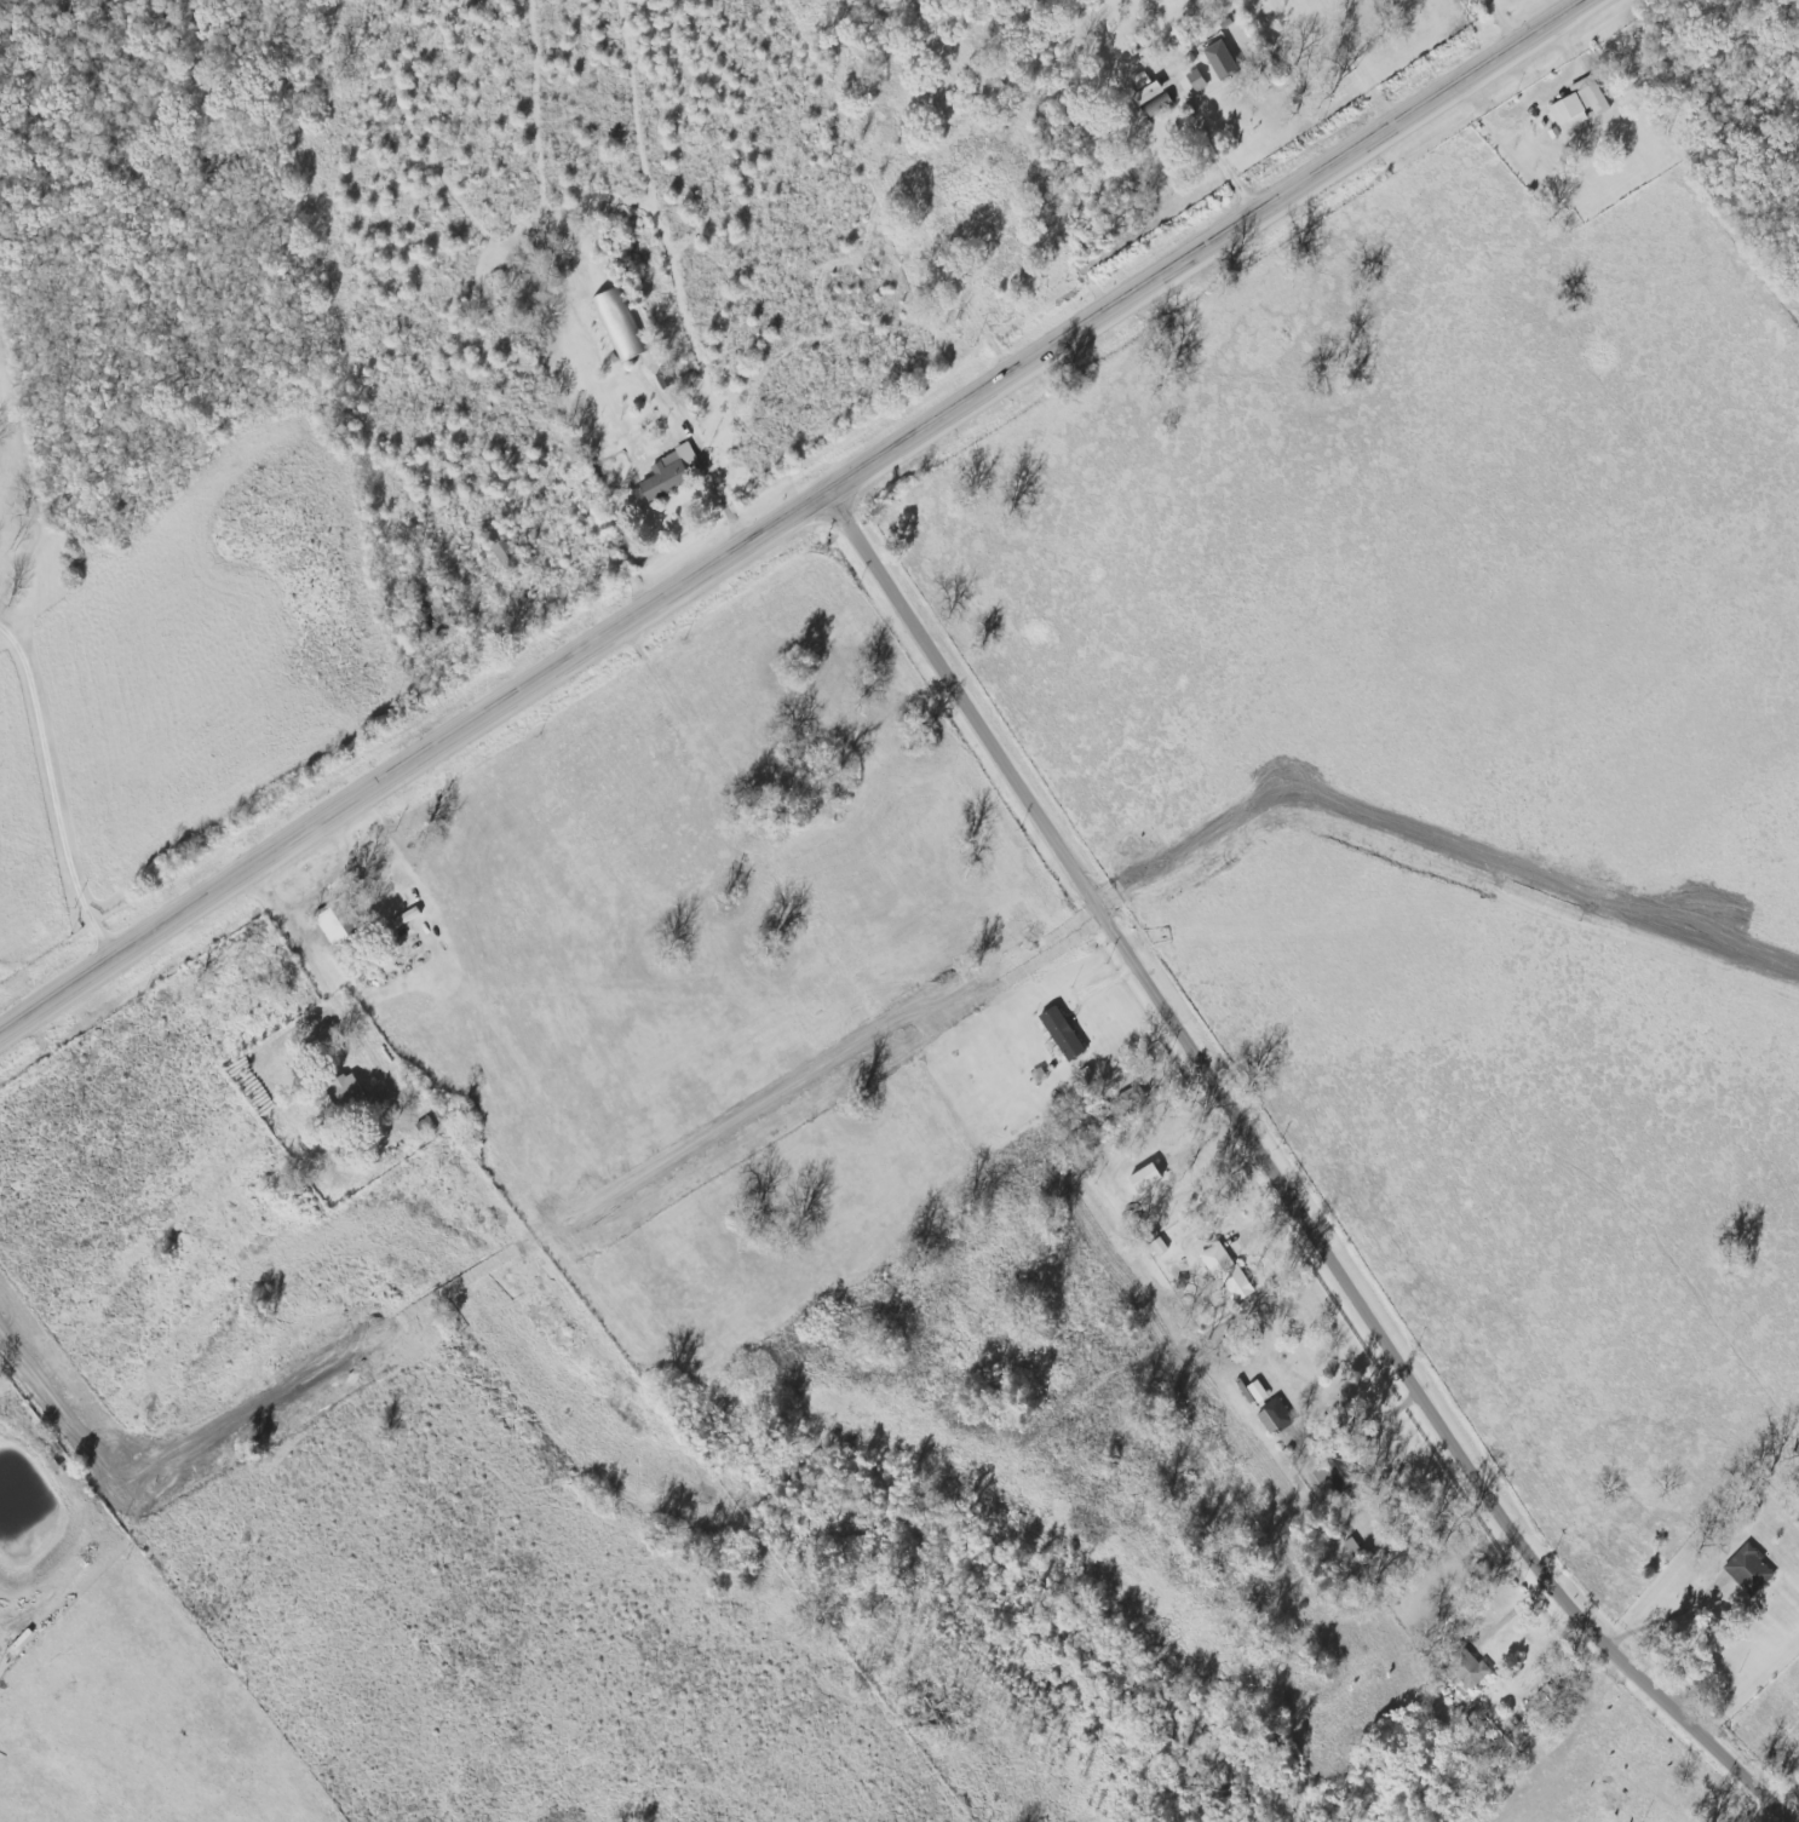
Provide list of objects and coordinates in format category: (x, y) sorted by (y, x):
road: (1505, 24)
building: (1212, 73)
building: (1162, 105)
building: (1581, 105)
road: (1224, 153)
building: (621, 328)
building: (661, 476)
road: (799, 522)
building: (510, 557)
building: (441, 611)
building: (344, 924)
road: (322, 975)
building: (1065, 1035)
building: (1133, 1099)
building: (357, 1102)
building: (1148, 1178)
road: (1286, 1184)
building: (1224, 1266)
building: (1277, 1418)
building: (1337, 1473)
building: (1355, 1550)
building: (1742, 1564)
road: (1788, 1820)

